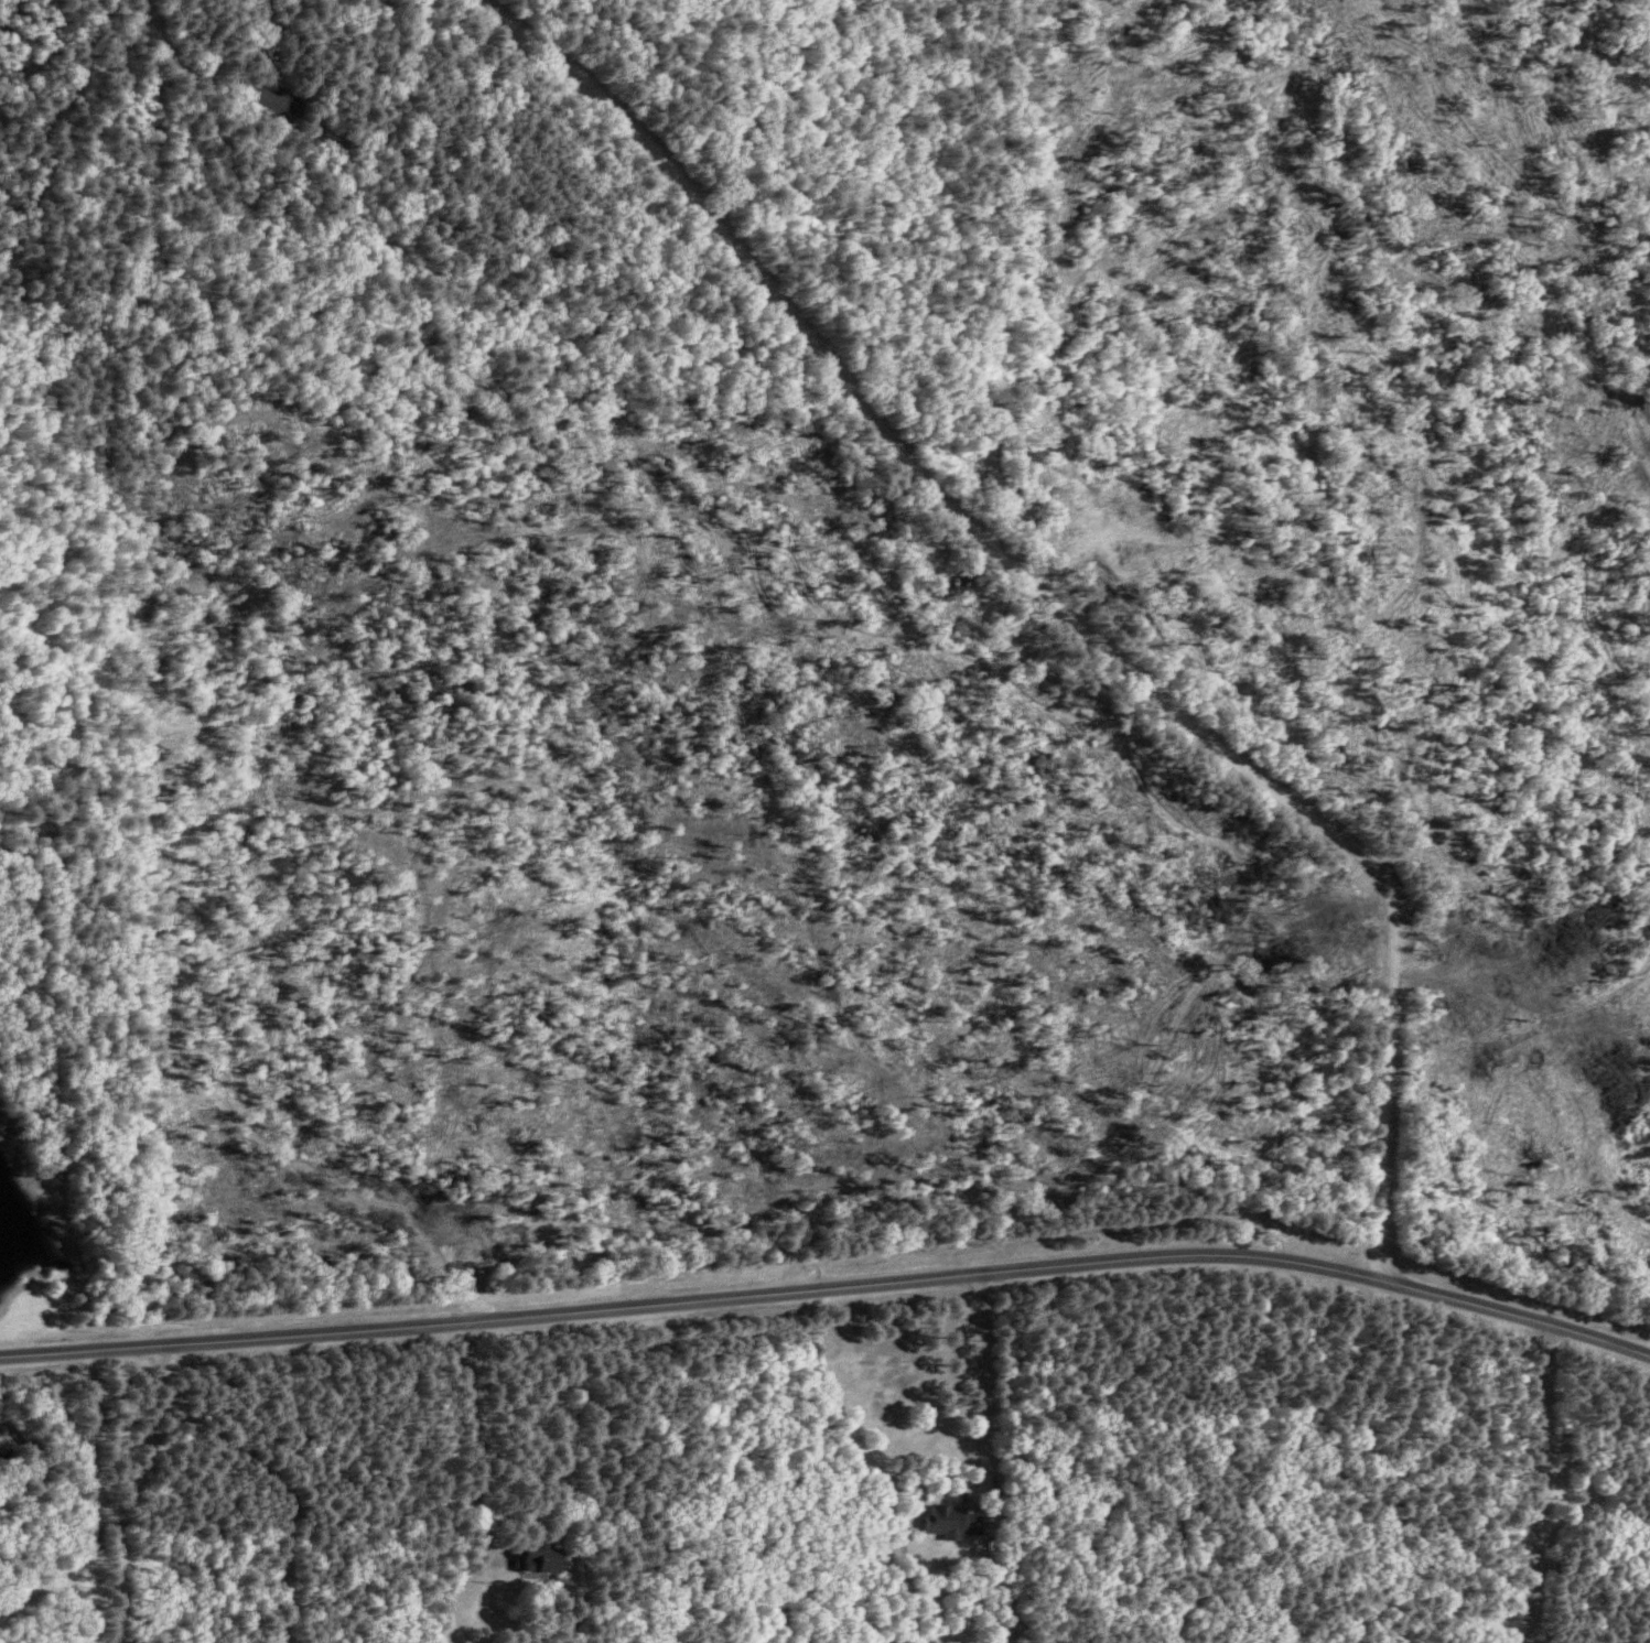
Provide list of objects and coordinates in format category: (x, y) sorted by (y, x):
road: (174, 61)
building: (273, 98)
road: (1042, 601)
road: (1319, 1262)
road: (722, 1297)
road: (233, 1339)
road: (975, 1382)
road: (470, 1440)
building: (955, 1521)
building: (543, 1559)

